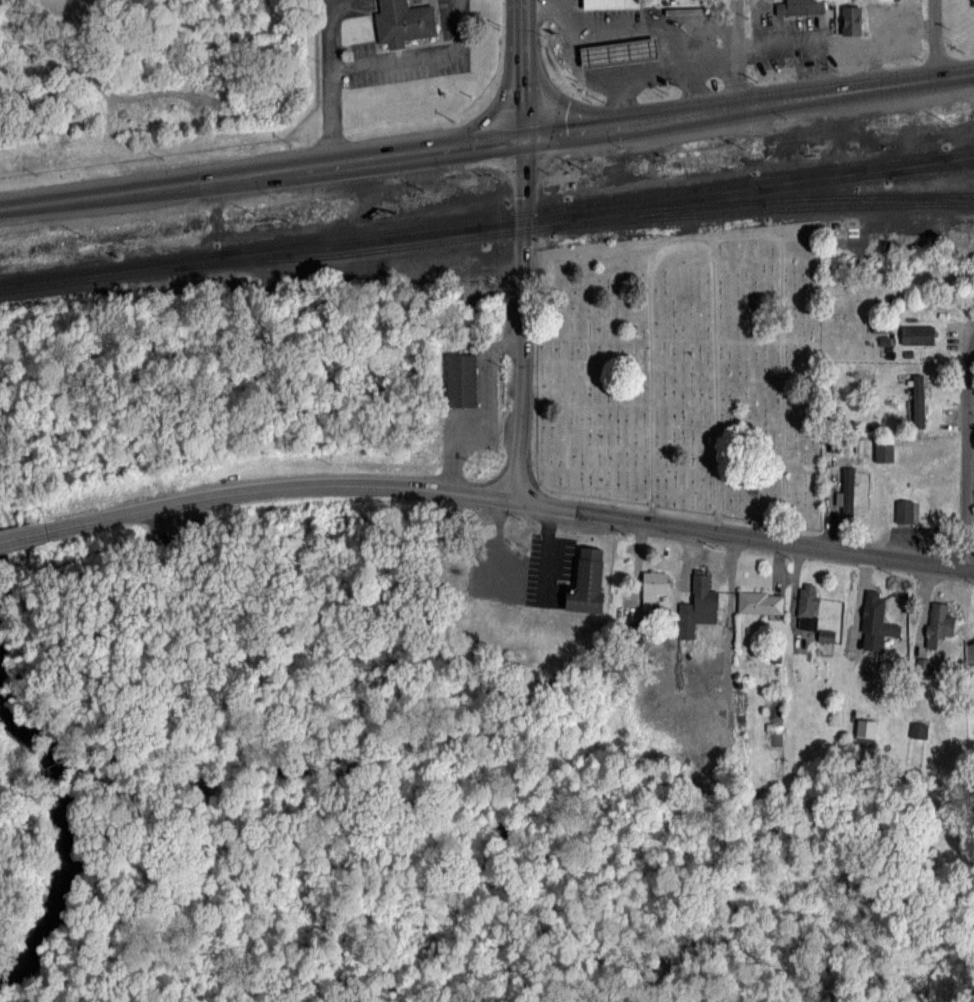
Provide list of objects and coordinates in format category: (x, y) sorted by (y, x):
building: (607, 4)
building: (796, 7)
building: (402, 21)
road: (606, 28)
road: (331, 30)
road: (931, 38)
road: (734, 53)
road: (419, 54)
building: (615, 54)
gas station: (615, 54)
road: (712, 65)
road: (521, 69)
road: (578, 70)
road: (631, 76)
road: (854, 88)
road: (693, 90)
road: (716, 109)
road: (331, 116)
road: (608, 124)
traffic signals: (522, 138)
railway: (960, 154)
railway: (931, 168)
road: (261, 173)
railway: (853, 173)
railway: (866, 174)
railway: (917, 197)
railway: (772, 199)
railway: (584, 205)
railway: (620, 208)
railway: (658, 213)
railway: (575, 224)
railway: (351, 240)
railway: (240, 258)
railway: (110, 267)
road: (522, 320)
building: (882, 322)
building: (918, 333)
park: (686, 375)
building: (461, 380)
building: (839, 443)
building: (884, 449)
road: (968, 451)
road: (296, 486)
building: (847, 493)
building: (904, 510)
road: (41, 532)
road: (743, 536)
road: (496, 546)
park: (229, 551)
road: (542, 553)
building: (584, 579)
building: (652, 589)
building: (760, 601)
building: (698, 602)
building: (808, 606)
building: (873, 619)
building: (939, 623)
building: (918, 729)
river: (66, 825)

